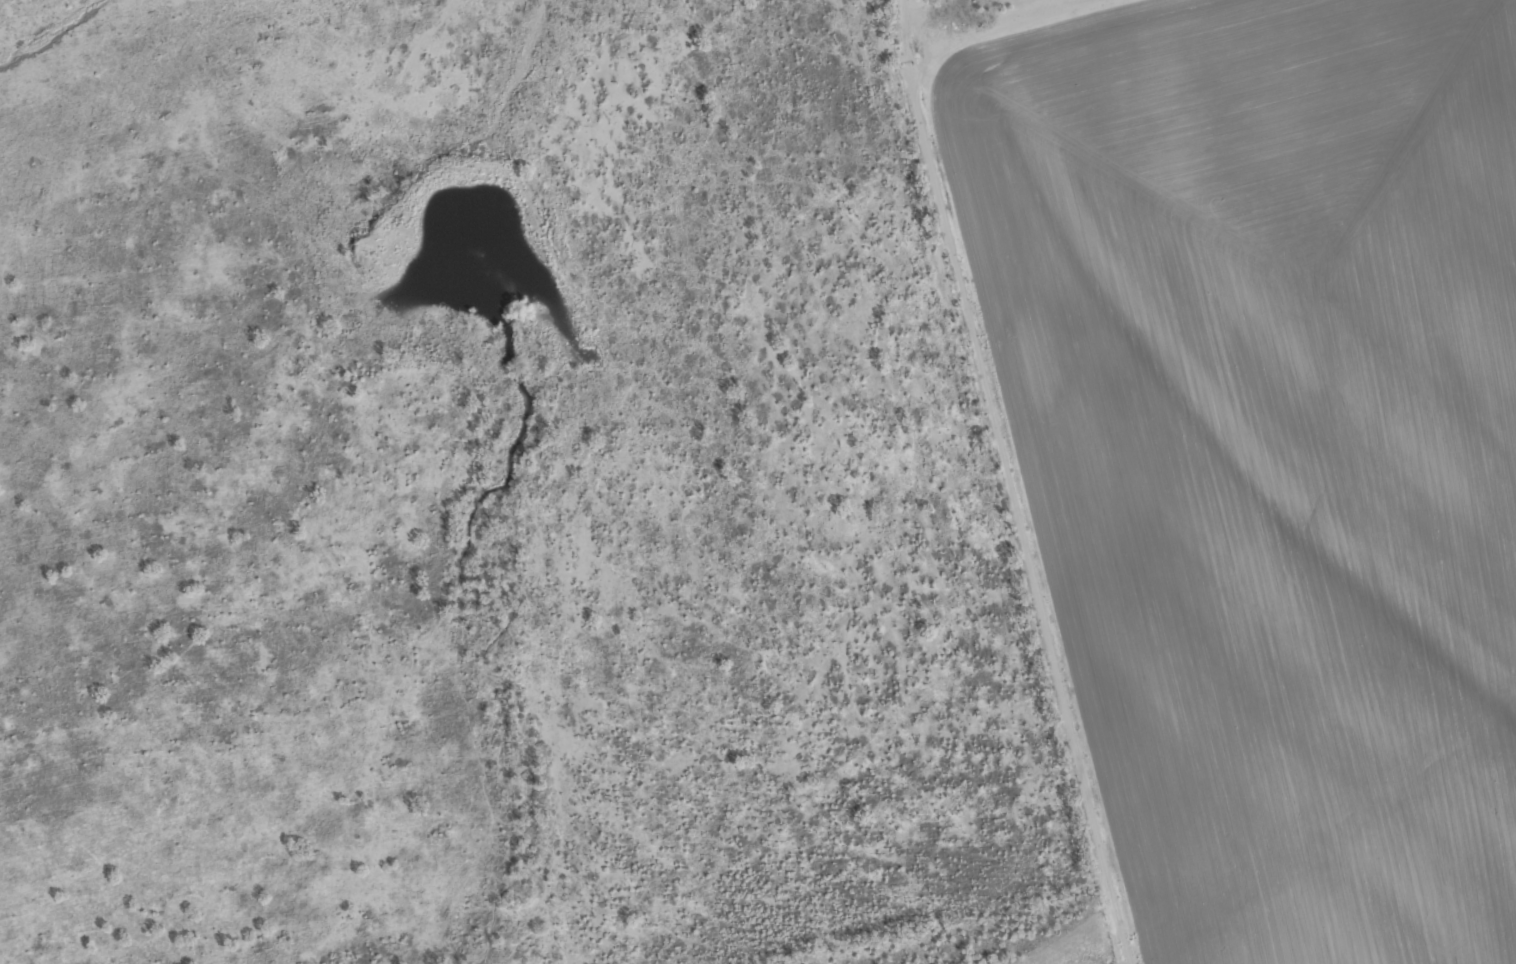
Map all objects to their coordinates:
road: (1000, 398)

